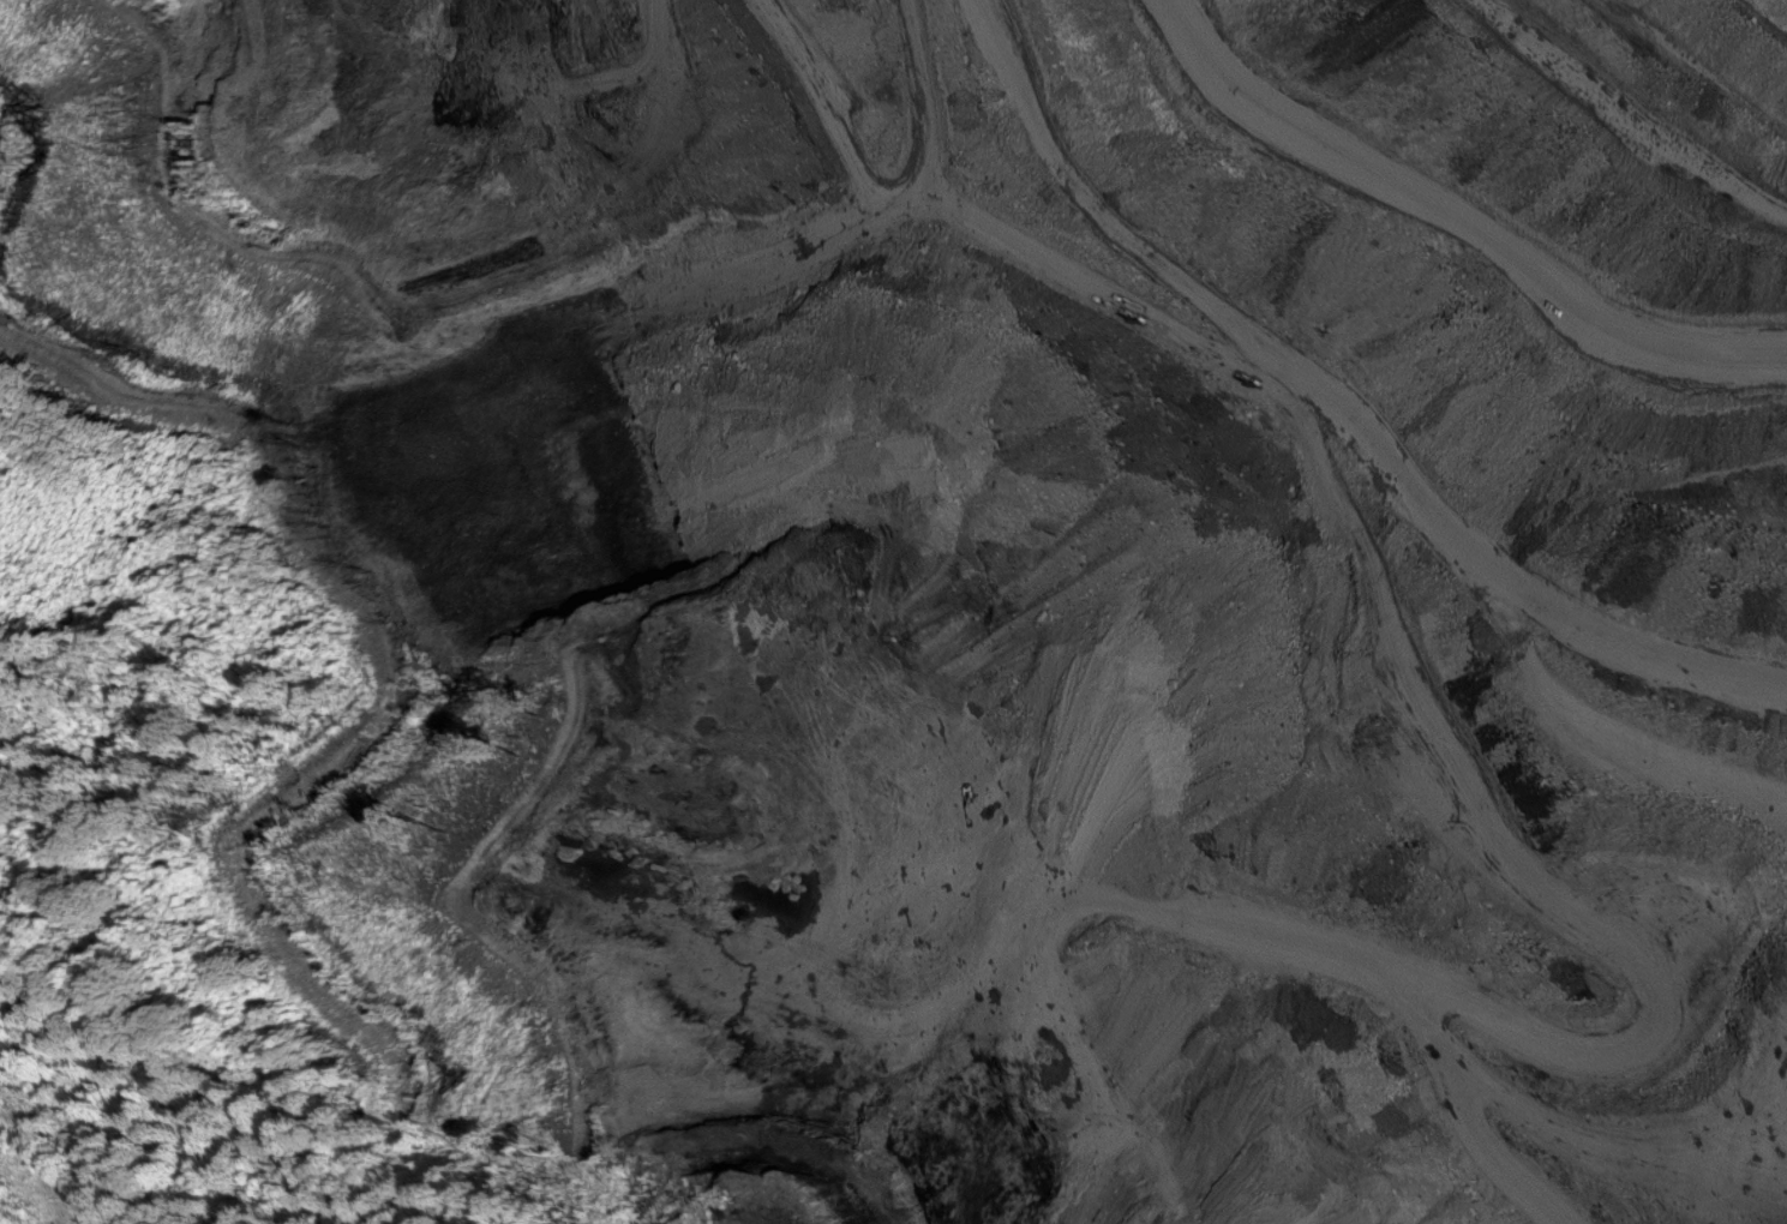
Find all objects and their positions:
quarry: (987, 578)

